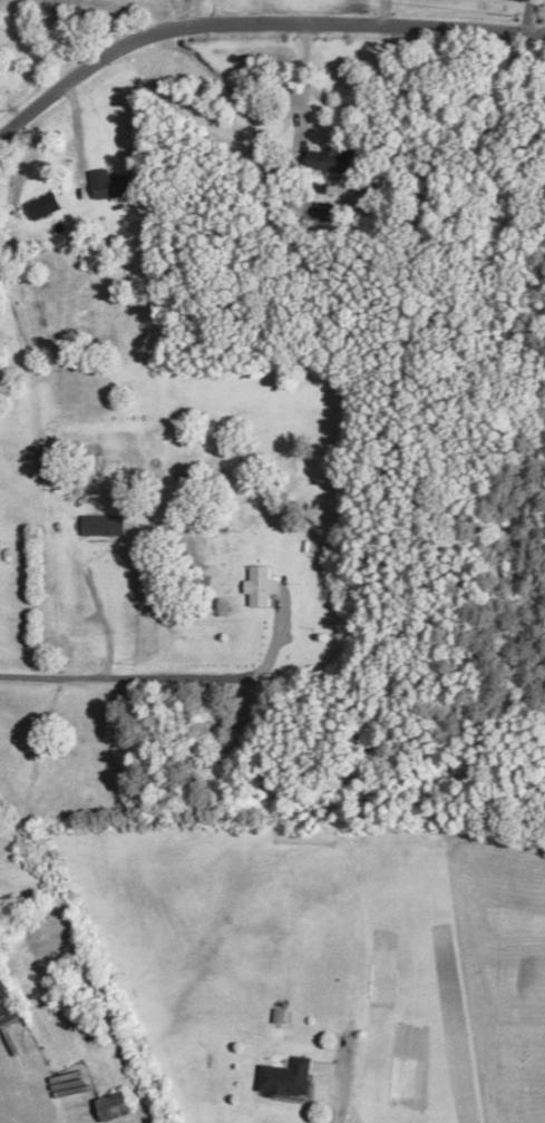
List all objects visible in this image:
road: (524, 18)
road: (256, 22)
building: (333, 162)
building: (111, 186)
building: (46, 207)
building: (104, 527)
building: (260, 587)
road: (3, 906)
building: (7, 1006)
building: (286, 1078)
building: (115, 1107)

